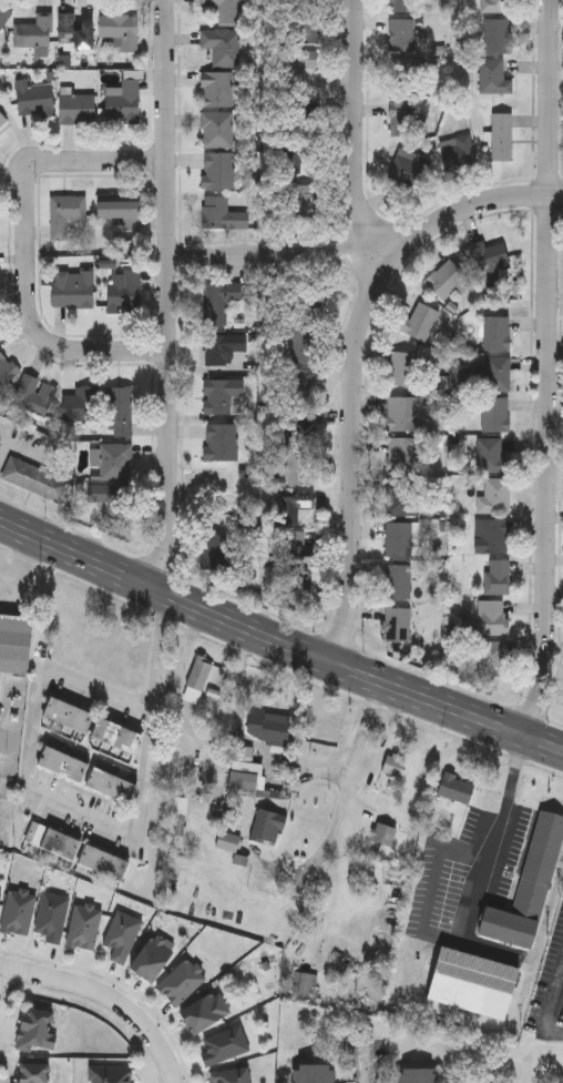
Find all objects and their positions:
building: (305, 0)
building: (498, 6)
building: (225, 10)
building: (3, 17)
building: (303, 26)
building: (120, 31)
building: (35, 33)
building: (74, 33)
building: (399, 33)
building: (498, 34)
building: (222, 44)
building: (297, 67)
building: (400, 74)
building: (493, 75)
building: (216, 88)
building: (32, 95)
building: (124, 102)
building: (78, 108)
building: (299, 112)
building: (2, 118)
building: (402, 118)
building: (217, 128)
road: (356, 134)
building: (502, 136)
building: (459, 152)
building: (294, 155)
building: (402, 165)
building: (217, 169)
building: (304, 200)
building: (120, 209)
building: (64, 212)
building: (222, 213)
road: (28, 250)
road: (373, 254)
building: (489, 257)
building: (444, 280)
building: (74, 289)
building: (123, 290)
road: (168, 294)
building: (218, 300)
building: (311, 305)
building: (417, 322)
building: (497, 333)
building: (301, 344)
building: (222, 346)
building: (6, 367)
road: (551, 367)
building: (406, 368)
building: (493, 373)
building: (461, 378)
building: (299, 385)
building: (34, 393)
building: (219, 393)
building: (81, 403)
building: (120, 409)
building: (403, 412)
building: (495, 414)
building: (303, 425)
building: (221, 441)
road: (355, 452)
building: (489, 454)
building: (400, 455)
building: (115, 458)
building: (297, 465)
building: (35, 478)
building: (494, 495)
building: (111, 498)
building: (402, 498)
building: (297, 505)
building: (491, 535)
building: (399, 539)
building: (298, 559)
road: (27, 575)
building: (497, 577)
building: (397, 581)
building: (298, 586)
road: (192, 600)
building: (492, 618)
building: (398, 628)
building: (16, 641)
building: (493, 658)
building: (197, 679)
road: (474, 712)
building: (68, 715)
building: (267, 725)
building: (115, 735)
road: (201, 738)
building: (62, 763)
building: (395, 763)
road: (289, 767)
building: (246, 775)
road: (355, 775)
building: (111, 785)
building: (455, 787)
road: (81, 808)
building: (267, 824)
road: (495, 830)
building: (383, 832)
building: (52, 840)
building: (103, 862)
building: (529, 889)
building: (0, 902)
building: (0, 905)
building: (19, 911)
building: (53, 917)
building: (85, 927)
building: (122, 937)
building: (152, 957)
road: (1, 978)
building: (470, 981)
building: (182, 983)
road: (105, 999)
road: (551, 1008)
building: (204, 1012)
building: (37, 1029)
building: (225, 1045)
road: (365, 1072)
building: (32, 1073)
building: (313, 1073)
building: (111, 1074)
building: (418, 1075)
building: (232, 1076)

